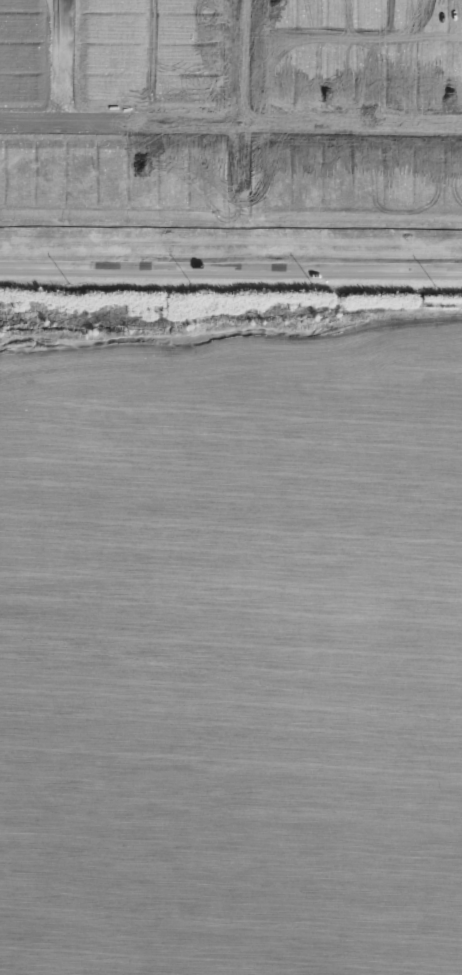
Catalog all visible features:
road: (64, 59)
road: (230, 120)
road: (246, 134)
road: (231, 269)

